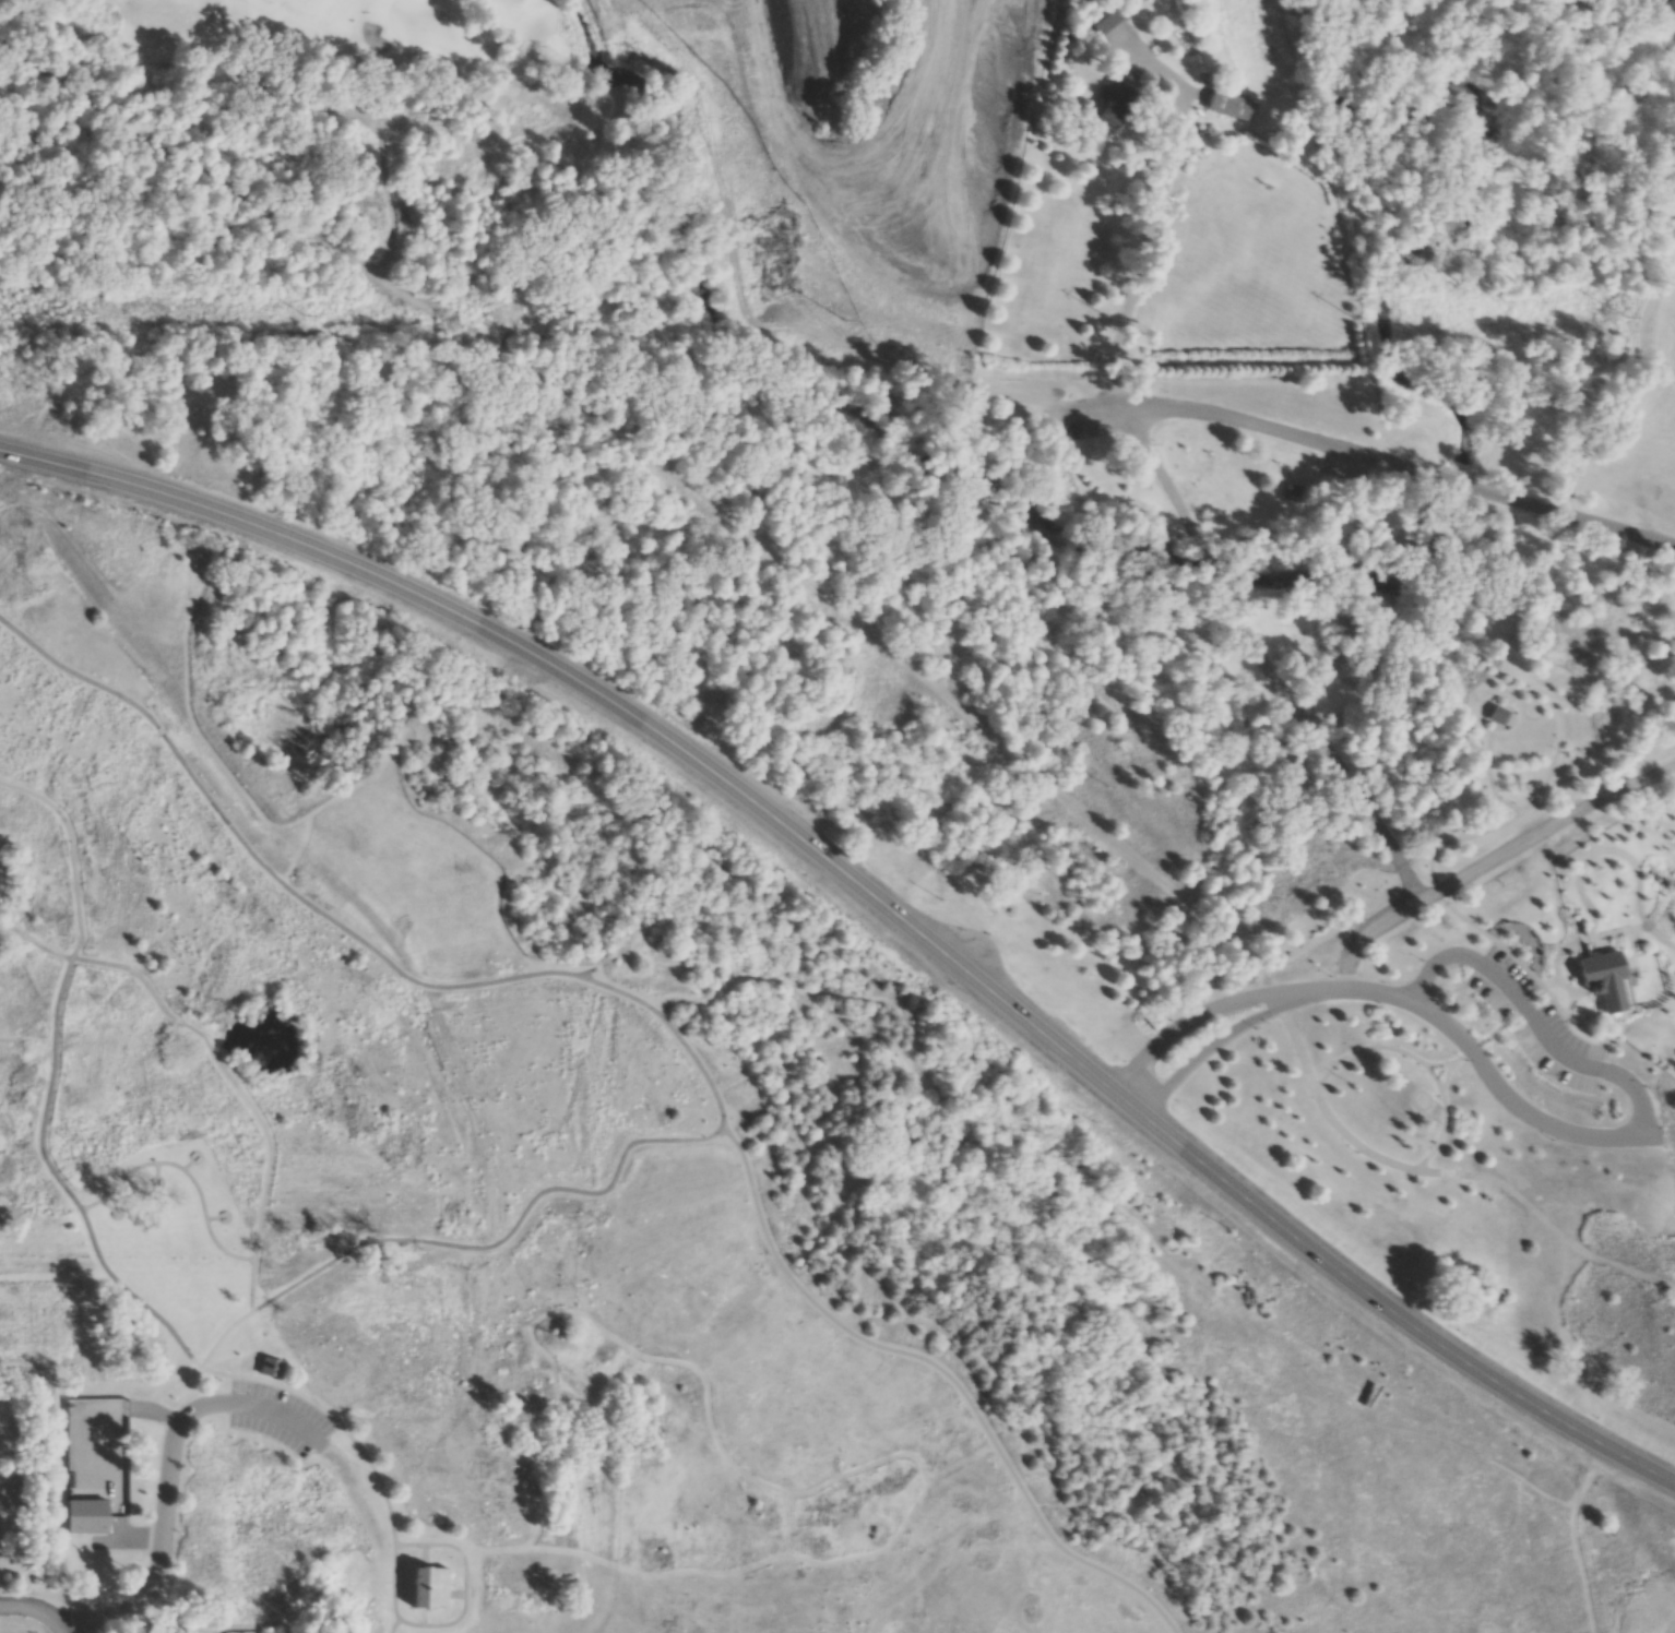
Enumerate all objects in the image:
building: (1113, 14)
park: (426, 32)
park: (294, 44)
building: (1119, 103)
building: (1231, 106)
road: (1157, 211)
parking lot: (1081, 420)
road: (663, 444)
parking lot: (1343, 464)
road: (1399, 467)
road: (1161, 475)
building: (1297, 496)
road: (1208, 568)
road: (75, 674)
road: (1530, 691)
building: (1501, 716)
road: (161, 730)
road: (1321, 746)
road: (1627, 789)
road: (47, 802)
road: (1510, 807)
road: (1495, 818)
road: (1506, 823)
road: (72, 853)
road: (559, 858)
road: (1449, 886)
road: (876, 898)
road: (1452, 910)
road: (79, 911)
road: (1523, 935)
road: (35, 945)
road: (1436, 966)
road: (132, 973)
road: (431, 987)
road: (1220, 1006)
road: (178, 1023)
parking lot: (1539, 1024)
road: (1499, 1025)
road: (1535, 1027)
road: (1572, 1028)
road: (1235, 1030)
road: (1363, 1049)
road: (1440, 1066)
road: (1446, 1076)
road: (1435, 1077)
road: (1490, 1081)
road: (1317, 1096)
road: (1639, 1101)
road: (264, 1131)
road: (1441, 1135)
road: (1660, 1141)
road: (185, 1172)
road: (61, 1185)
park: (590, 1202)
road: (1556, 1216)
road: (503, 1241)
road: (251, 1288)
road: (222, 1337)
building: (271, 1369)
road: (946, 1373)
road: (94, 1411)
road: (147, 1413)
road: (276, 1415)
parking lot: (278, 1418)
road: (332, 1420)
building: (143, 1470)
road: (115, 1476)
road: (792, 1495)
road: (358, 1500)
building: (87, 1517)
road: (163, 1533)
road: (114, 1541)
road: (492, 1551)
road: (394, 1584)
road: (465, 1586)
building: (431, 1588)
crop: (1651, 1608)
road: (37, 1610)
road: (395, 1626)

